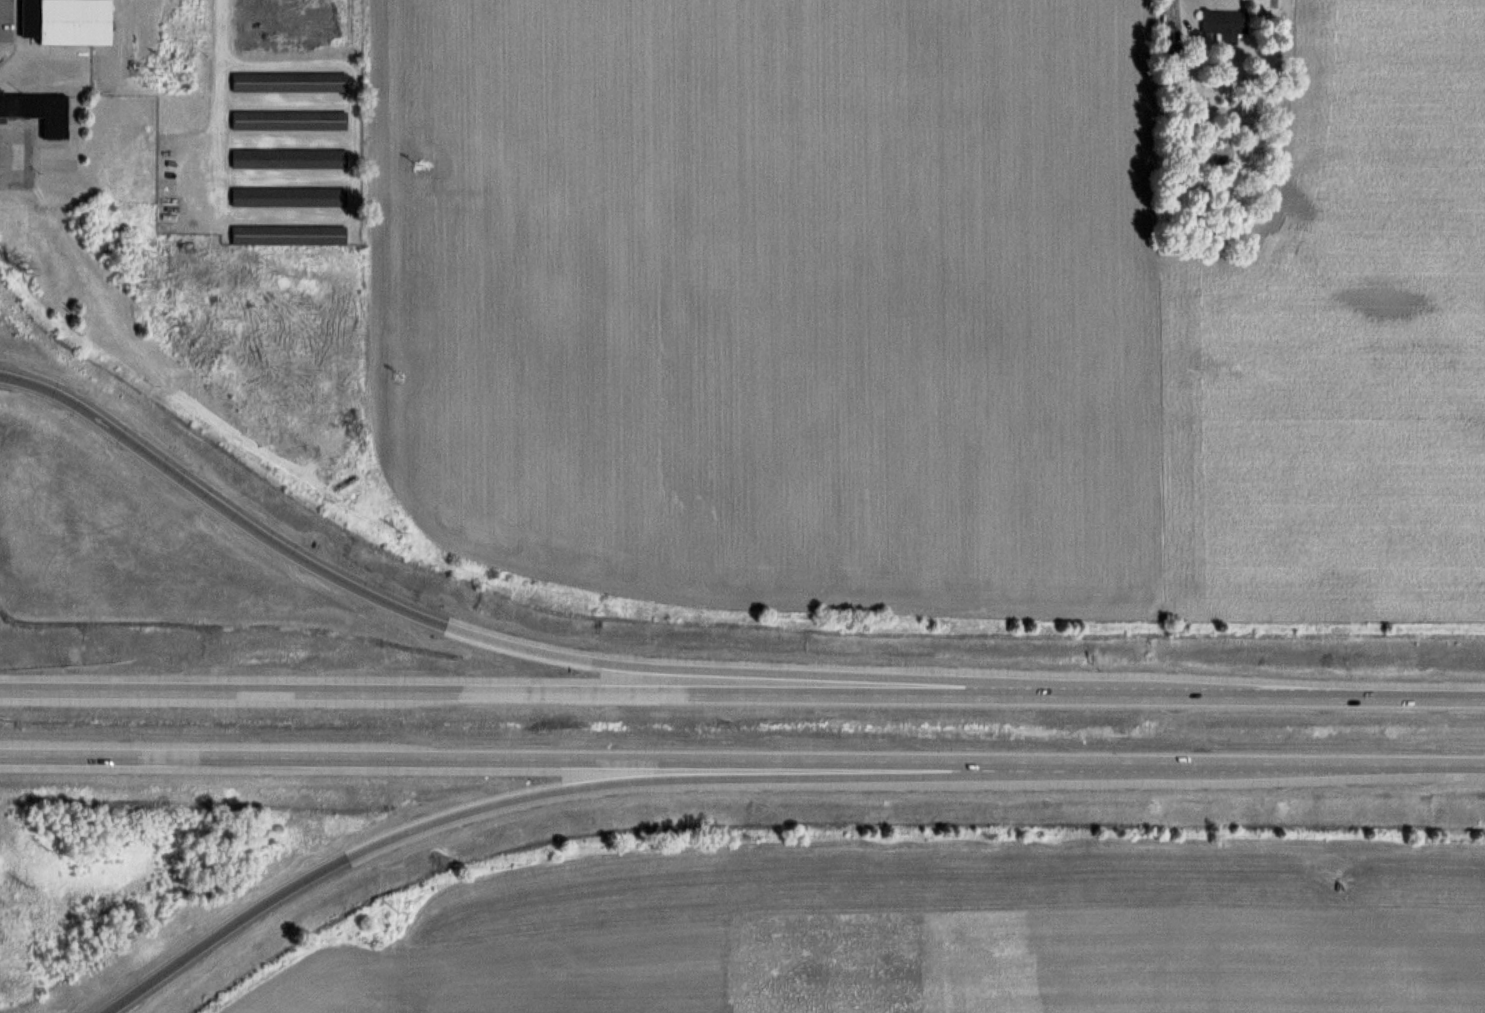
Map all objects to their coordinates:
road: (1176, 16)
building: (66, 21)
building: (1221, 23)
building: (288, 82)
building: (38, 111)
building: (288, 119)
building: (288, 158)
building: (288, 196)
building: (288, 235)
road: (428, 619)
road: (742, 693)
road: (742, 760)
road: (508, 801)
crop: (933, 966)

